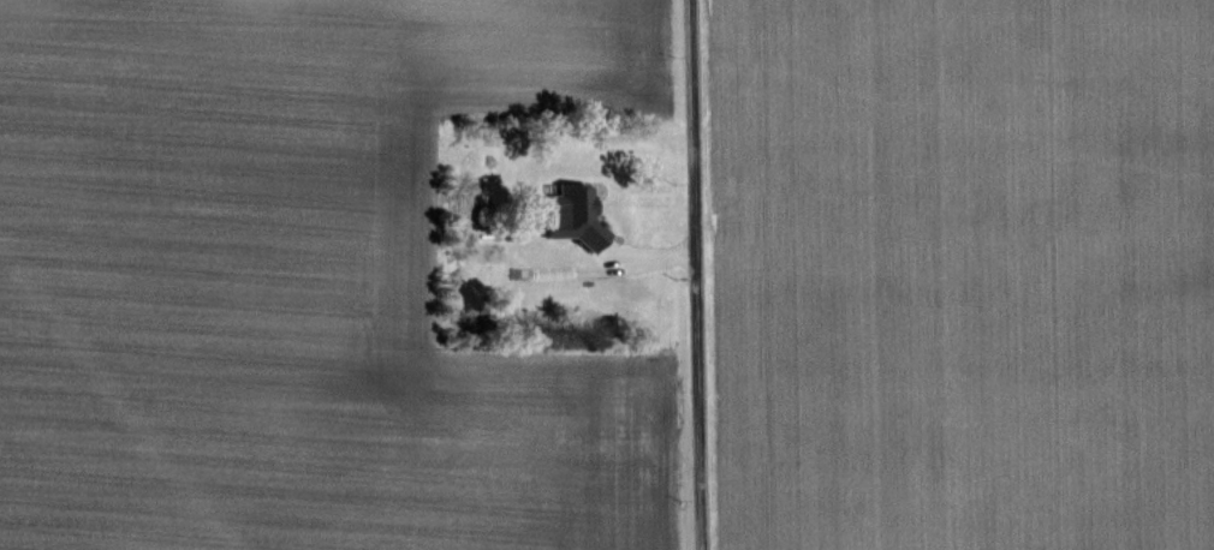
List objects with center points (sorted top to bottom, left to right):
road: (686, 275)

